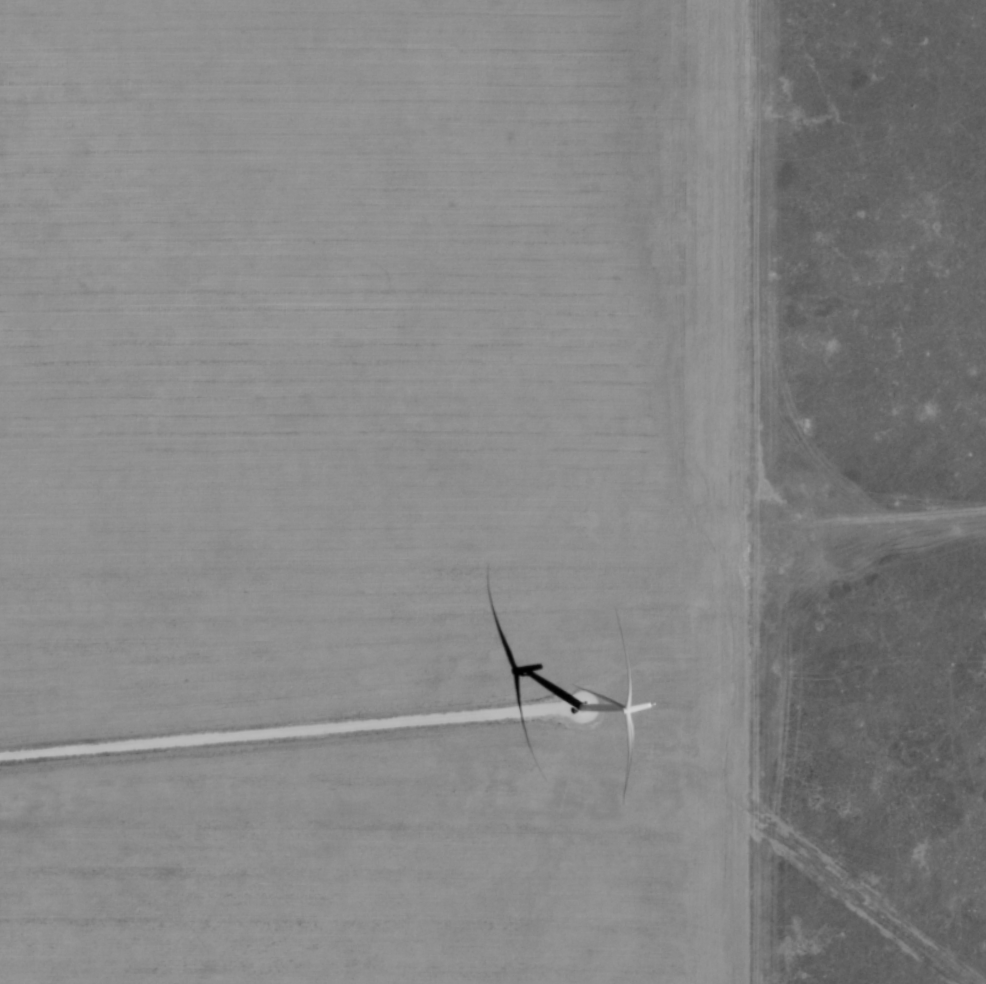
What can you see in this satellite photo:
wind turbine: (577, 712)

